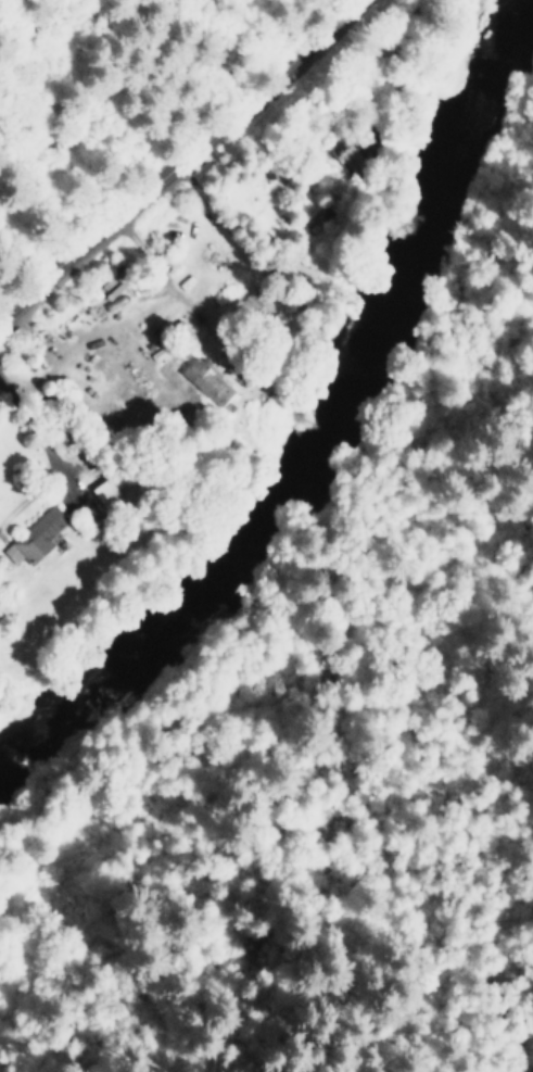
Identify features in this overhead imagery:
road: (180, 162)
building: (254, 303)
building: (204, 381)
river: (314, 419)
building: (103, 493)
building: (34, 537)

